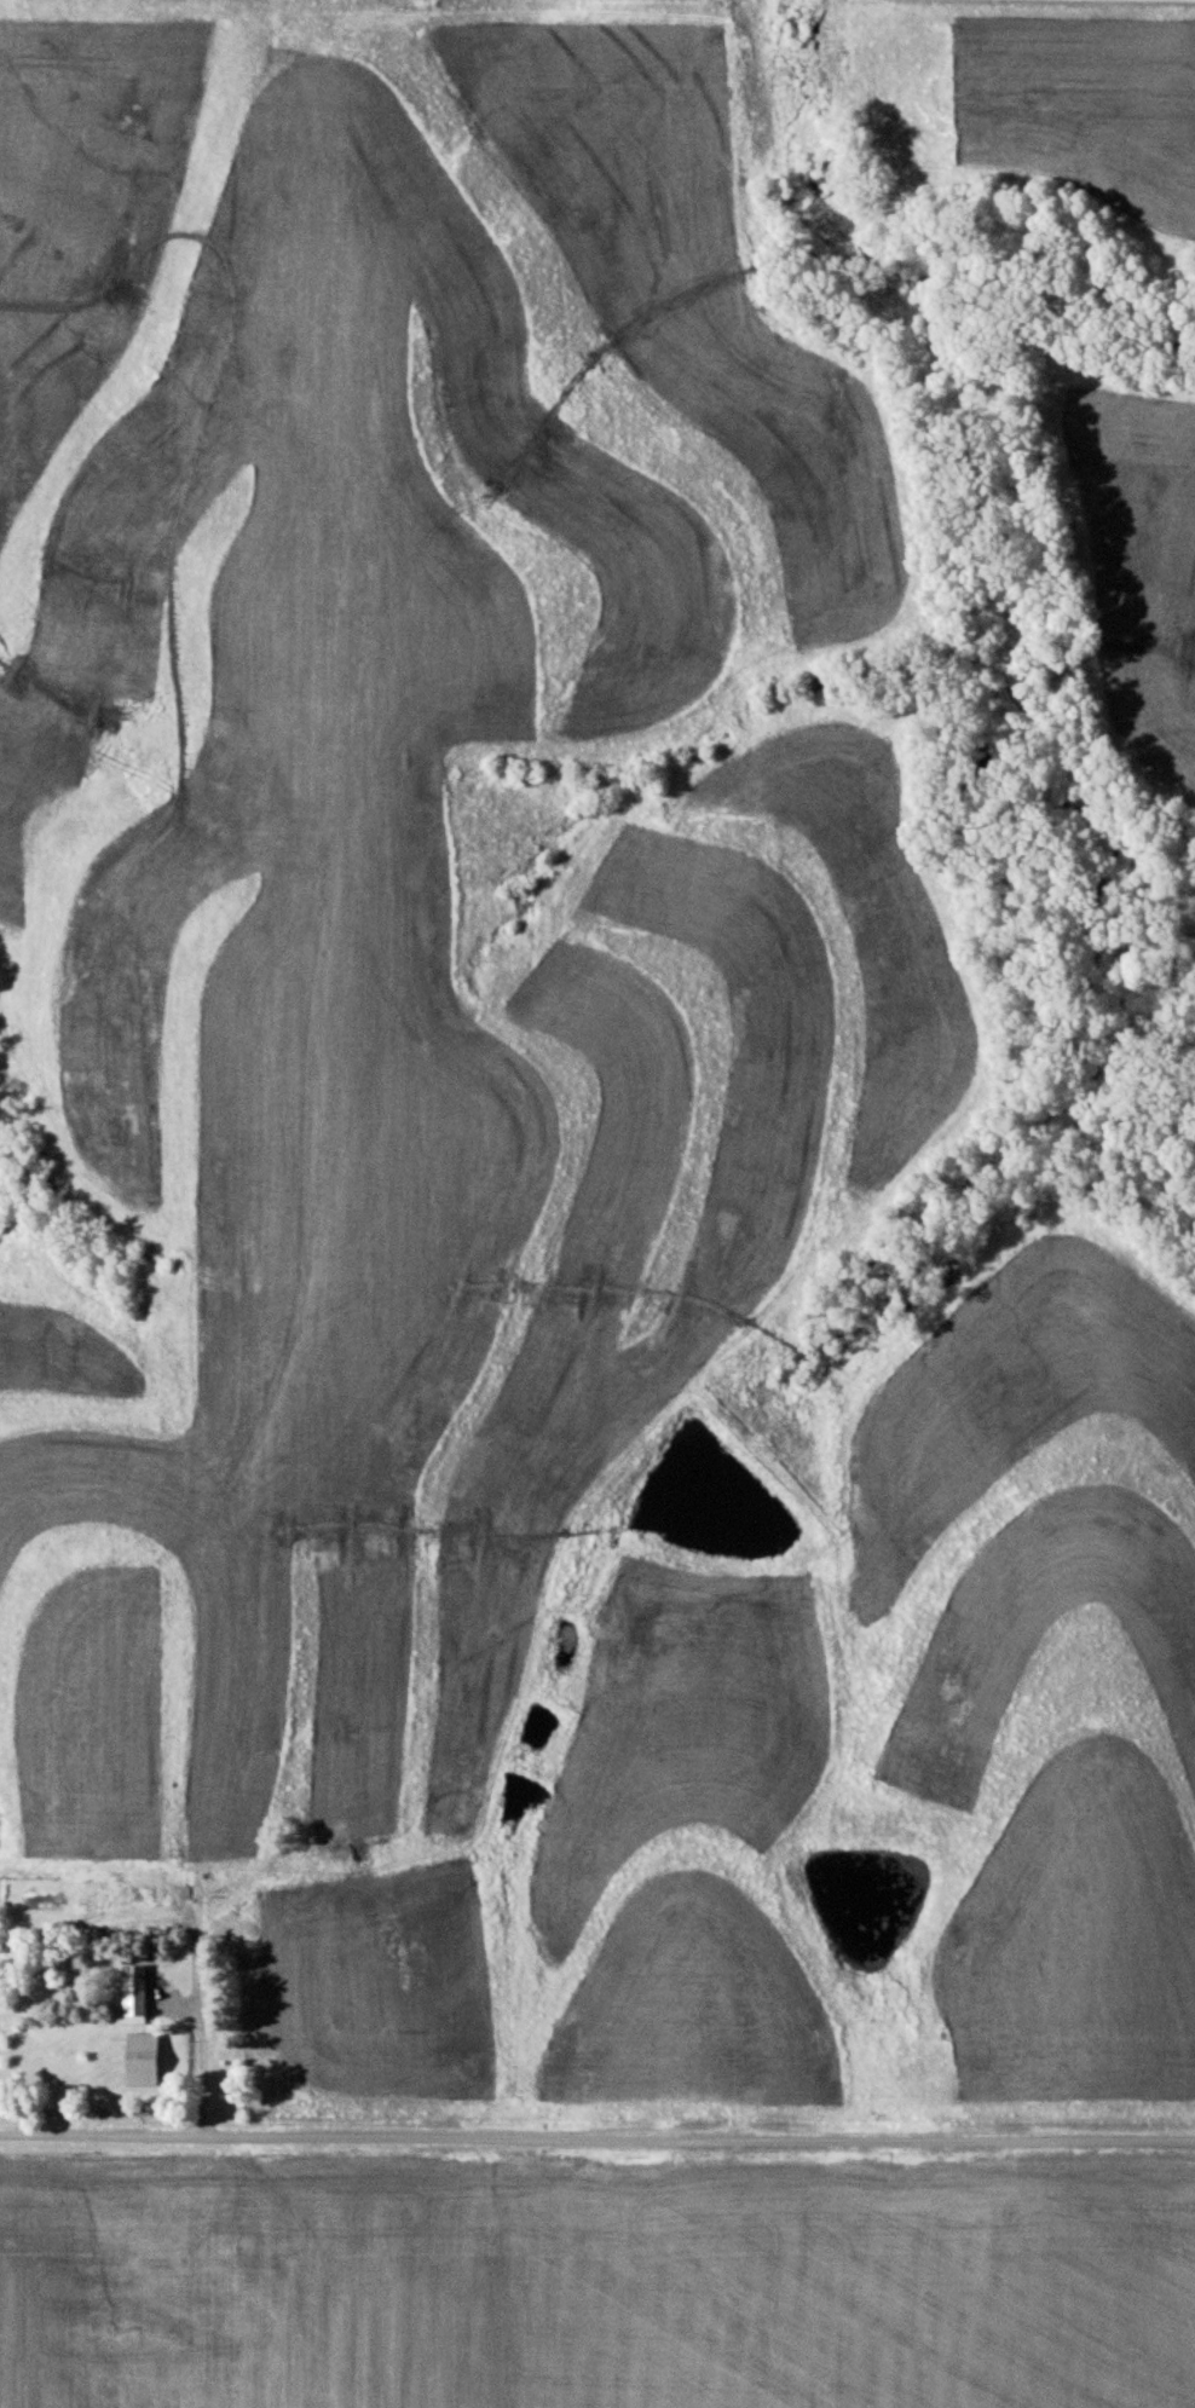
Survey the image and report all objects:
building: (85, 1892)
building: (131, 1991)
building: (139, 2054)
building: (700, 2068)
road: (597, 2101)

